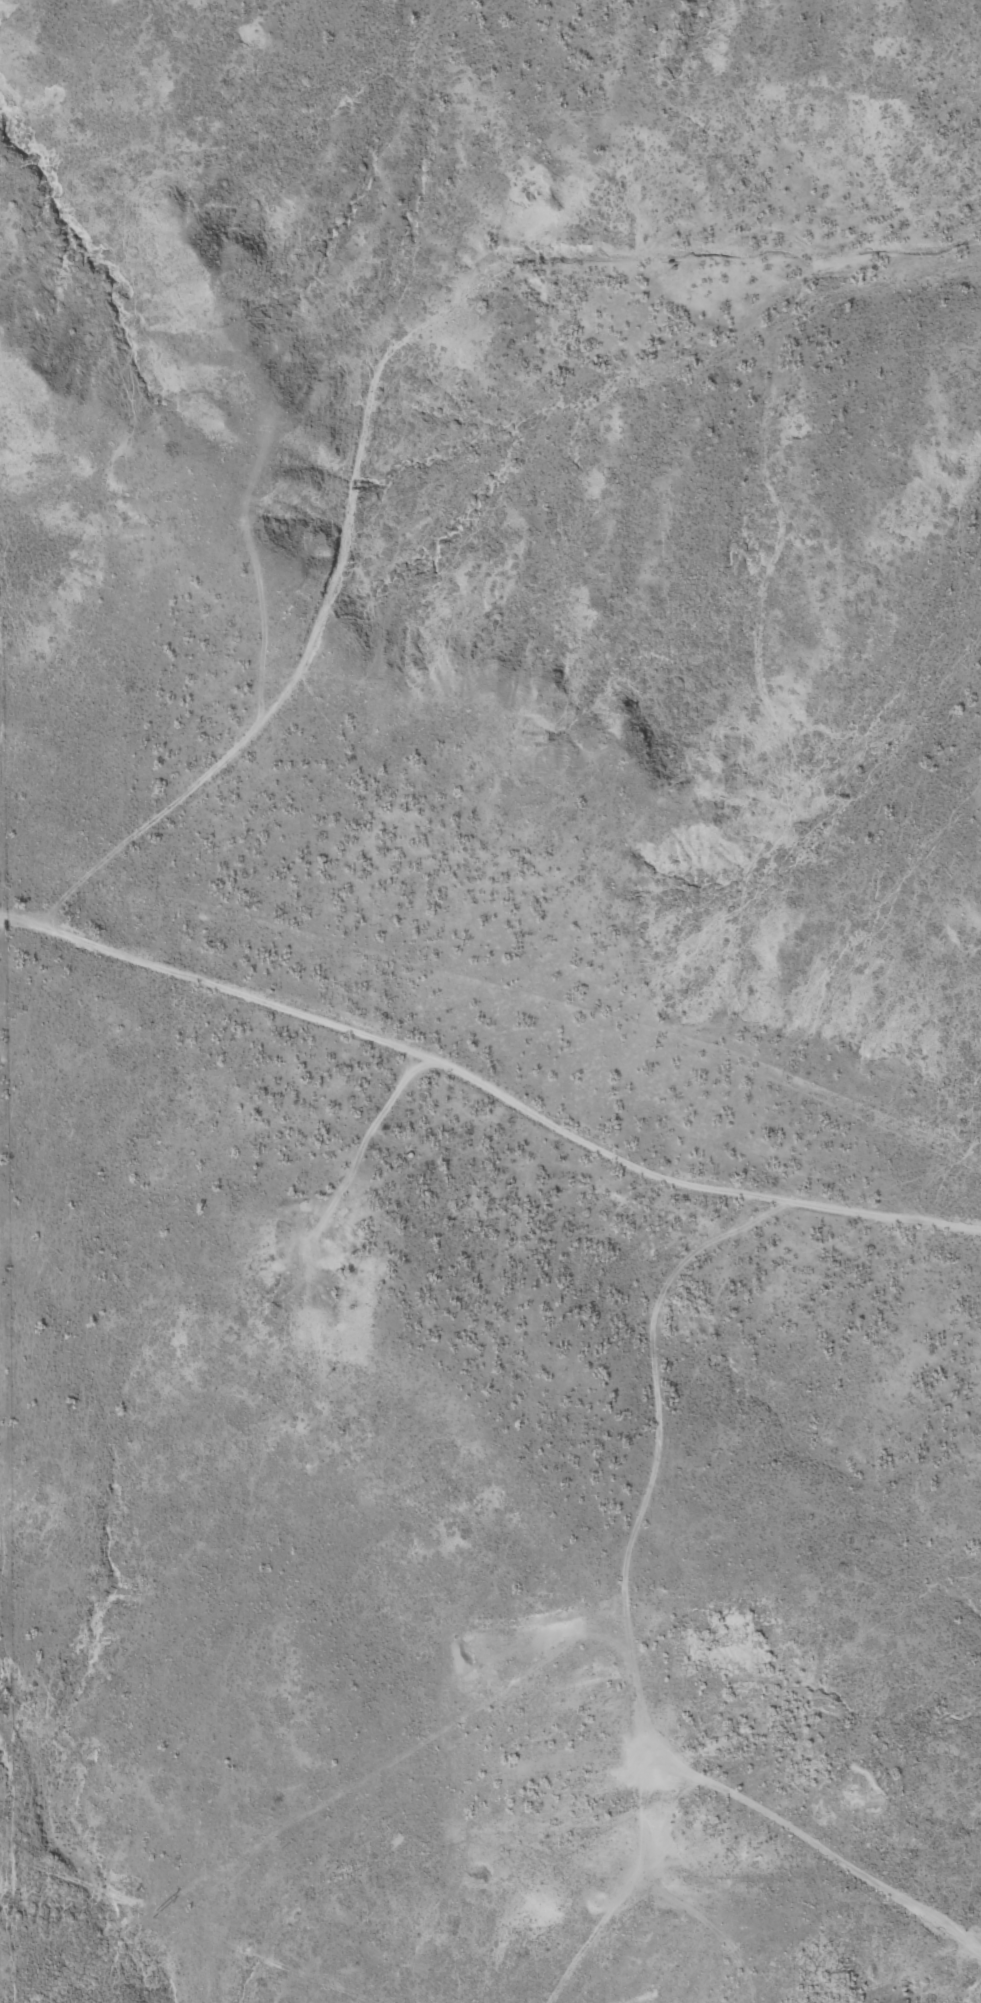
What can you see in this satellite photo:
power tower: (154, 1914)

